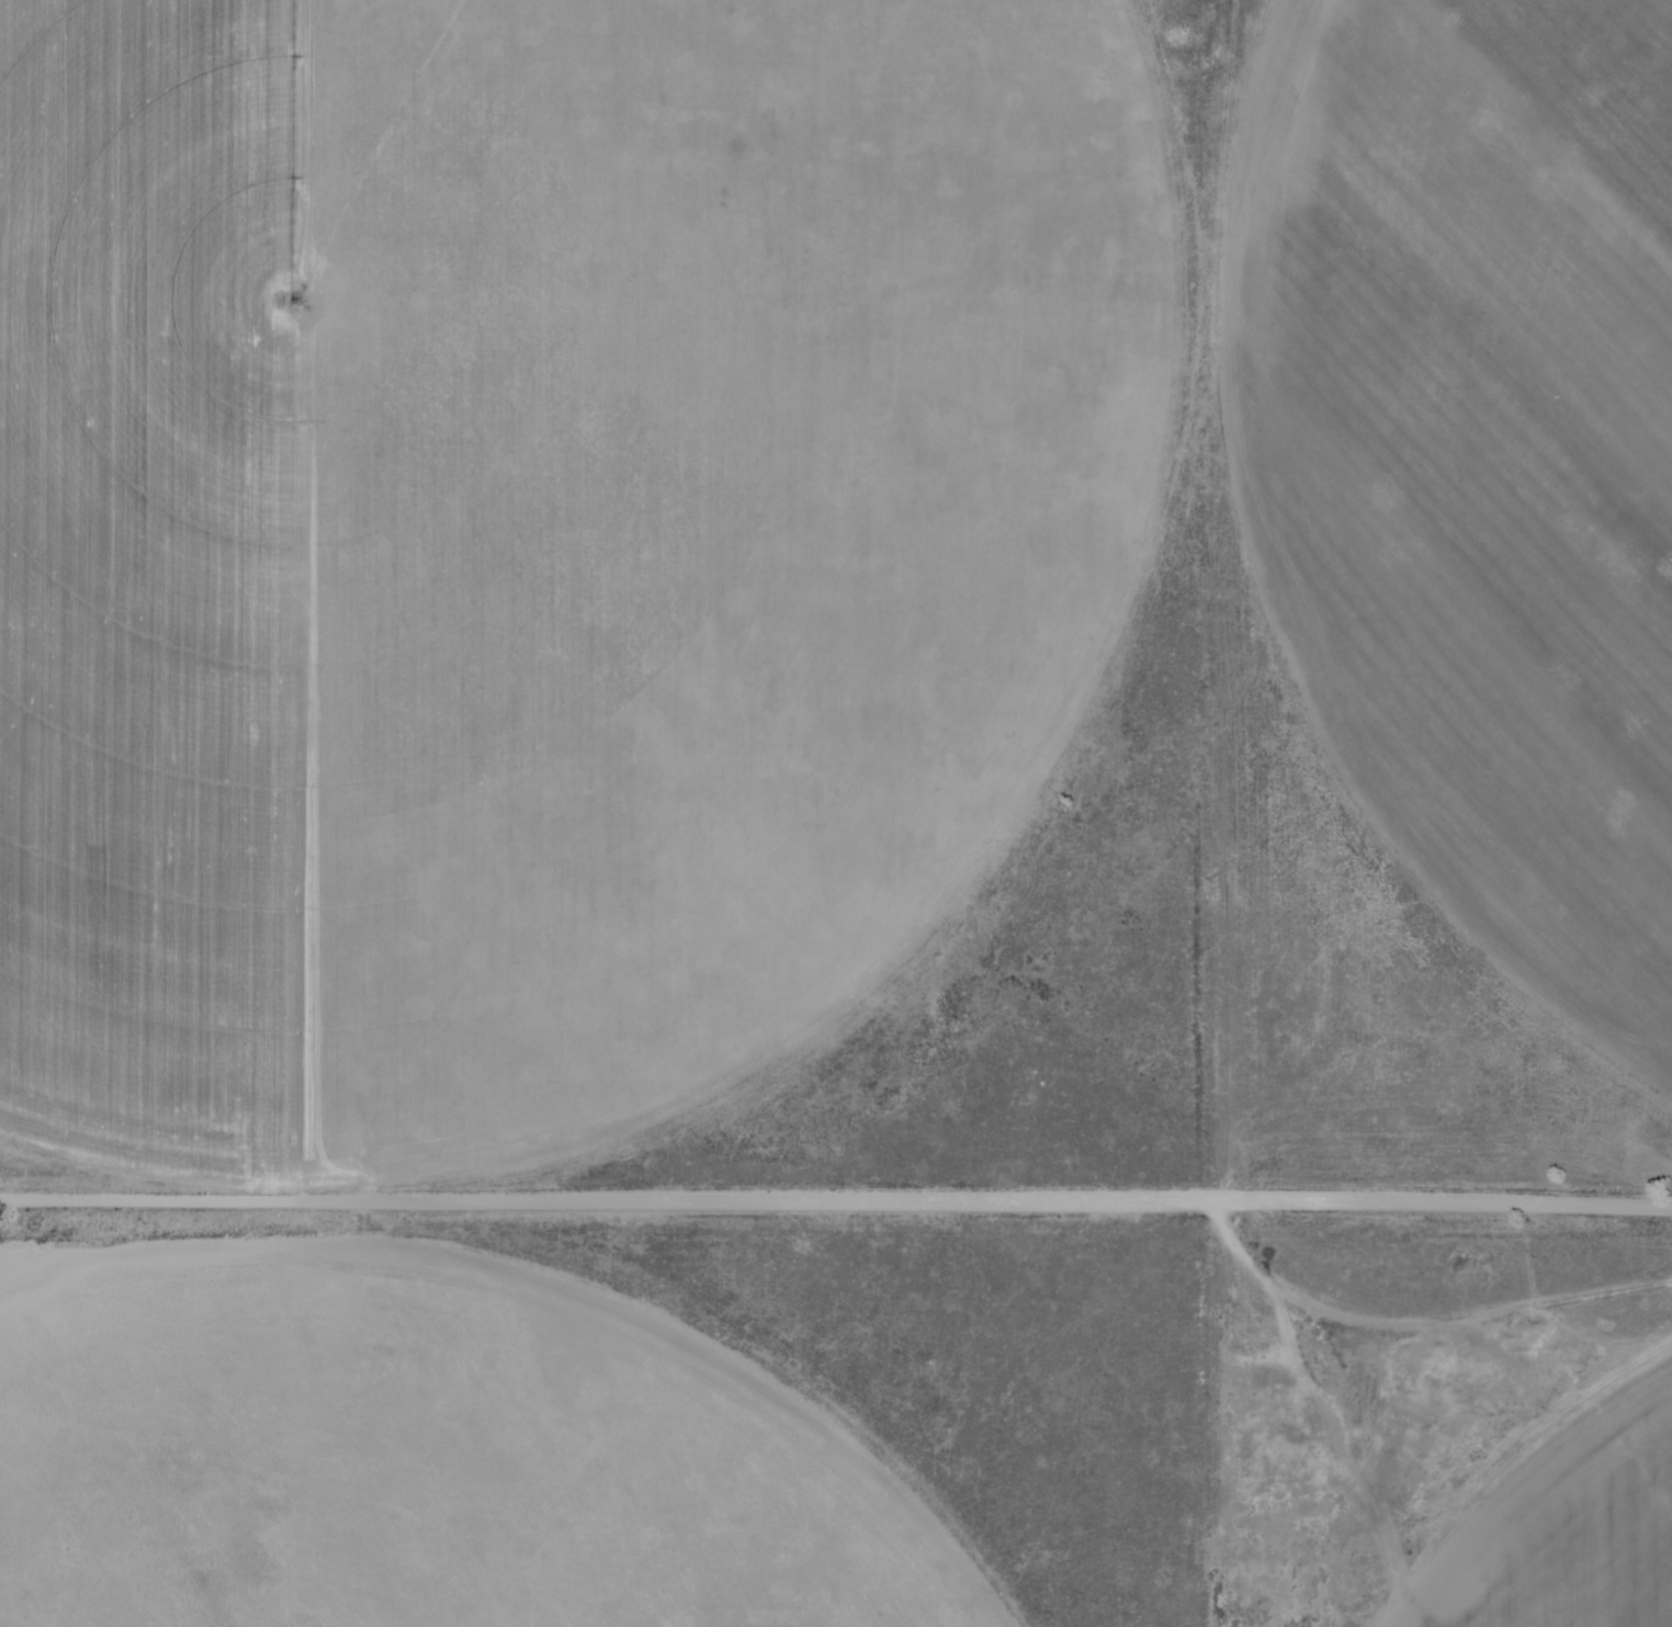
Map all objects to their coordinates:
road: (836, 1205)

